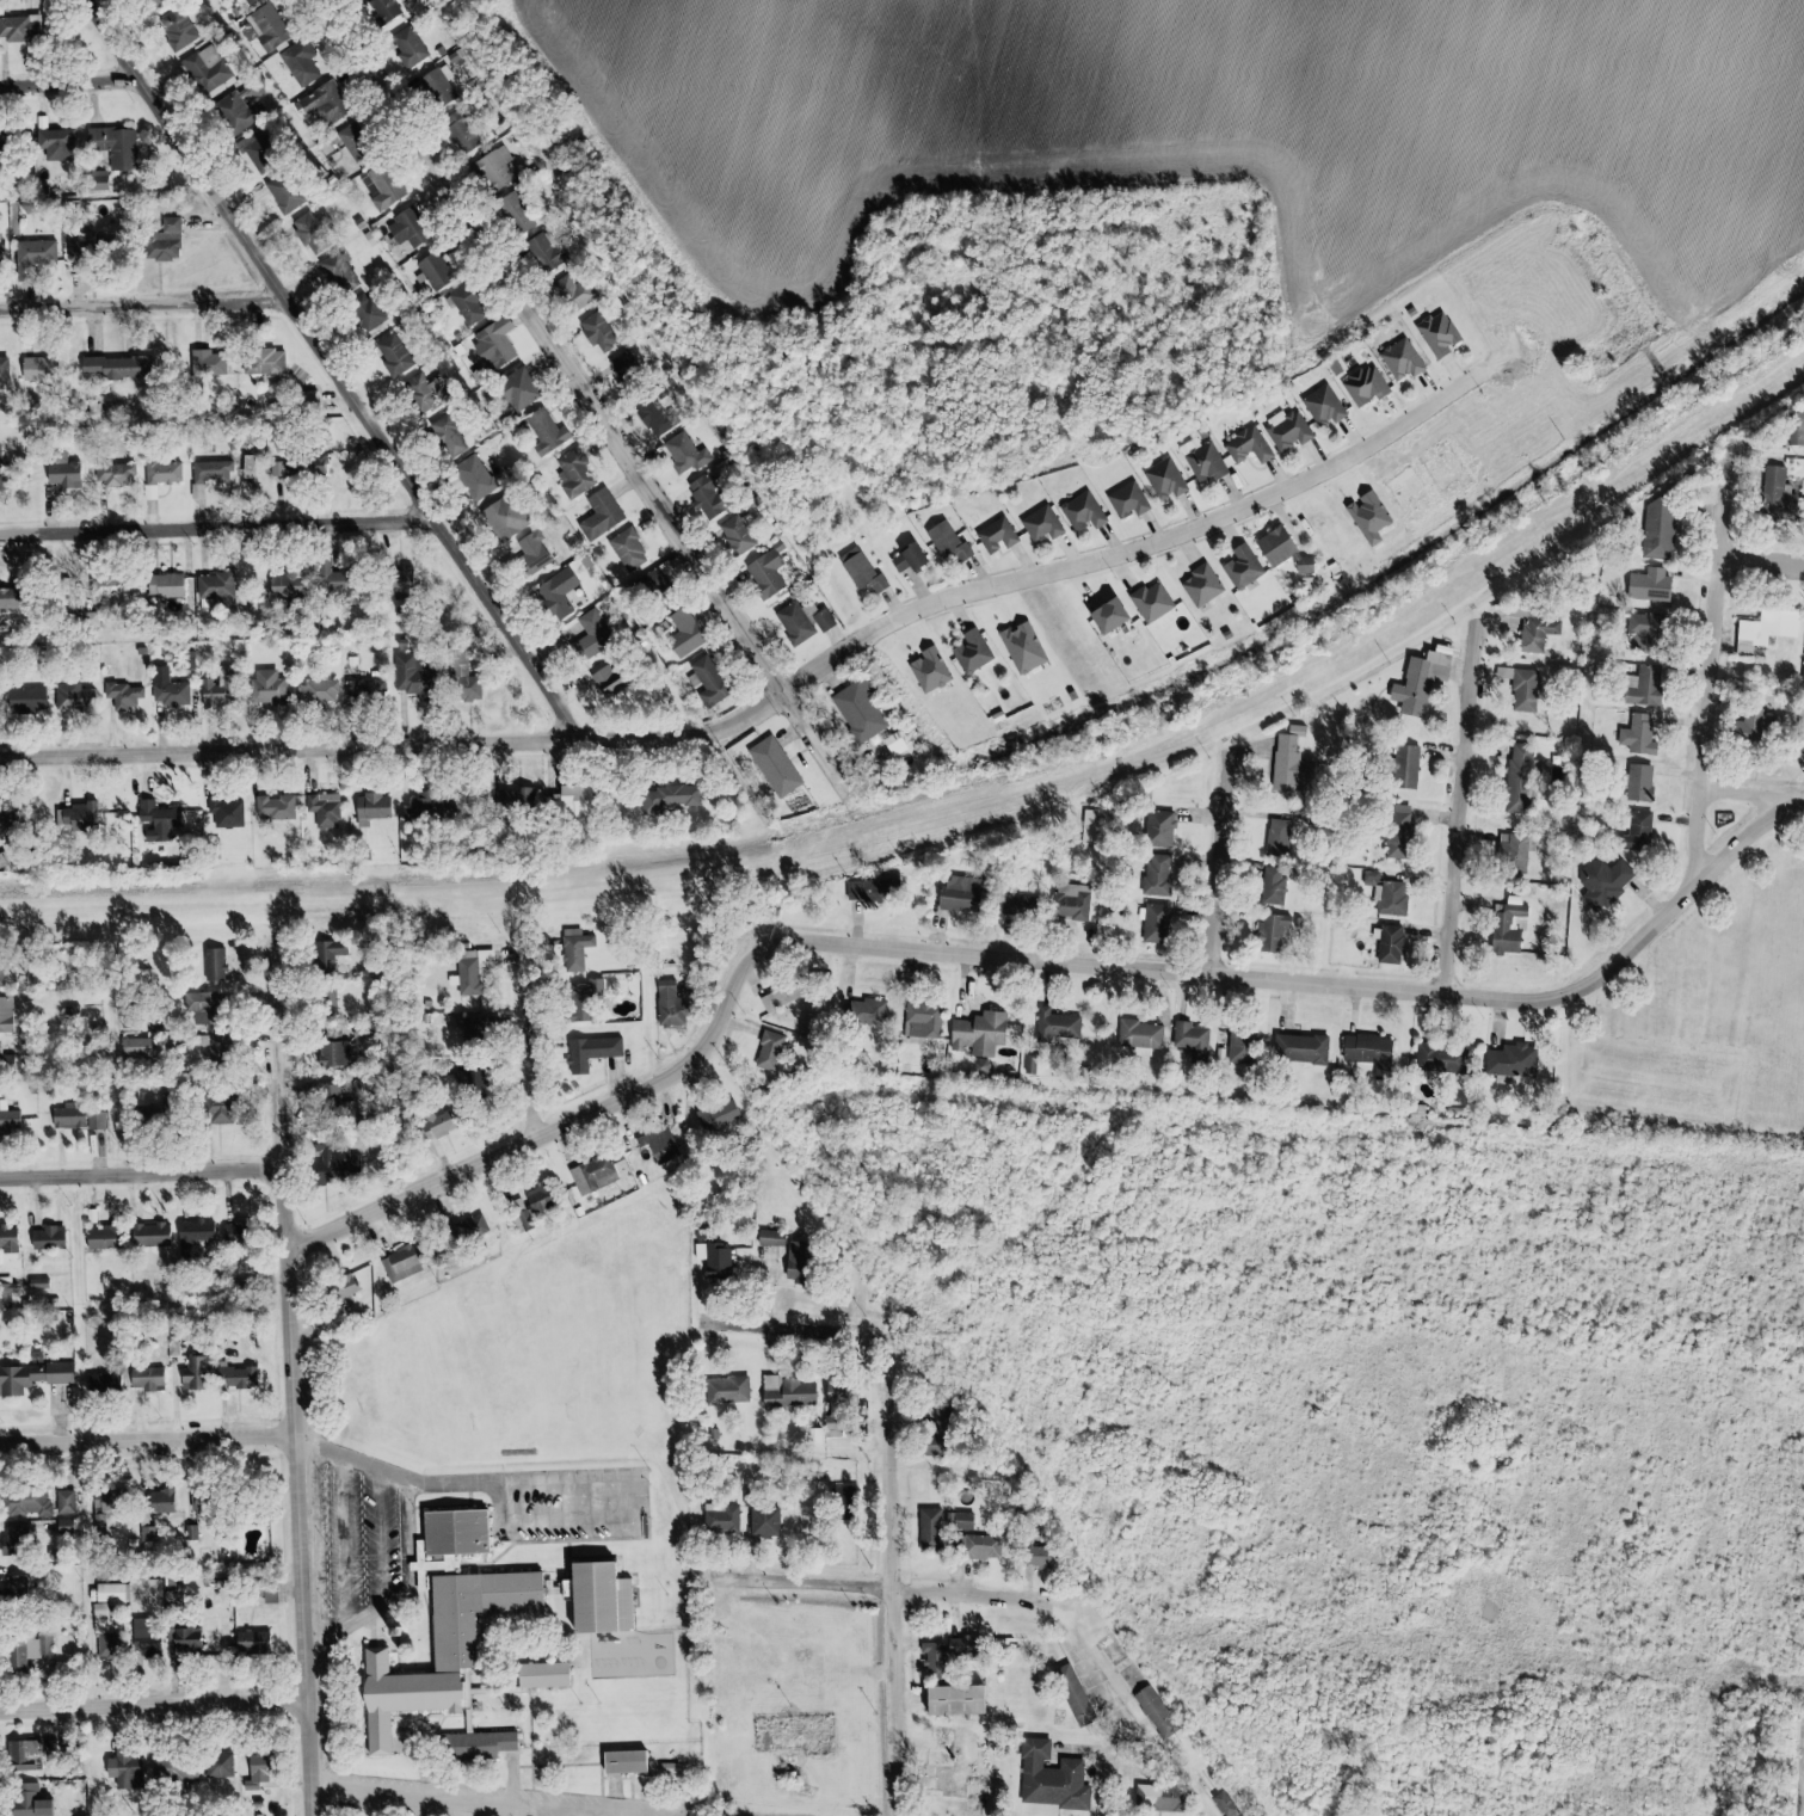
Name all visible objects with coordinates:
building: (246, 1)
building: (381, 8)
building: (177, 26)
building: (271, 26)
building: (21, 27)
building: (405, 45)
building: (300, 62)
building: (207, 67)
road: (73, 79)
building: (435, 85)
building: (325, 103)
building: (240, 106)
building: (457, 130)
building: (355, 141)
building: (57, 143)
building: (116, 144)
building: (2, 148)
building: (263, 153)
building: (491, 167)
building: (378, 186)
building: (285, 191)
building: (511, 211)
building: (405, 227)
building: (312, 232)
building: (170, 239)
building: (2, 246)
building: (81, 247)
building: (37, 251)
building: (541, 251)
building: (337, 267)
building: (431, 270)
building: (571, 289)
road: (147, 300)
building: (464, 303)
building: (371, 315)
building: (595, 332)
building: (1434, 333)
building: (492, 343)
building: (392, 353)
building: (1398, 359)
building: (210, 362)
building: (266, 362)
building: (621, 362)
building: (117, 365)
building: (42, 368)
road: (340, 368)
building: (5, 373)
road: (584, 373)
building: (1362, 384)
building: (515, 389)
building: (421, 392)
building: (1319, 405)
building: (651, 415)
building: (1790, 429)
building: (1285, 430)
building: (543, 431)
building: (444, 436)
building: (1245, 445)
building: (681, 453)
building: (1200, 460)
building: (319, 463)
building: (2, 467)
building: (289, 467)
building: (211, 470)
building: (165, 472)
building: (115, 473)
building: (571, 473)
building: (64, 474)
building: (470, 476)
building: (1162, 479)
building: (197, 491)
building: (1773, 494)
building: (702, 497)
building: (1125, 499)
building: (1079, 511)
building: (597, 513)
building: (1365, 516)
building: (500, 517)
building: (1039, 524)
road: (220, 527)
building: (1655, 528)
building: (732, 535)
building: (993, 535)
building: (944, 541)
road: (1141, 548)
building: (624, 549)
building: (1277, 550)
building: (528, 554)
road: (1767, 555)
building: (904, 558)
building: (1239, 566)
building: (857, 570)
building: (762, 573)
building: (337, 577)
building: (651, 580)
building: (170, 584)
building: (291, 584)
building: (1197, 584)
building: (109, 585)
building: (1645, 585)
building: (217, 586)
building: (554, 591)
building: (1147, 601)
building: (1104, 615)
building: (820, 618)
building: (1162, 620)
building: (790, 622)
building: (1762, 629)
building: (1638, 632)
building: (681, 633)
building: (1534, 633)
building: (589, 634)
building: (1020, 647)
building: (968, 651)
building: (926, 669)
building: (1802, 671)
road: (1718, 672)
building: (414, 675)
building: (1416, 678)
building: (604, 679)
building: (706, 681)
building: (461, 682)
building: (1517, 684)
building: (1639, 685)
building: (271, 687)
building: (170, 689)
building: (218, 689)
building: (362, 690)
building: (318, 691)
building: (123, 695)
building: (72, 696)
building: (30, 698)
building: (855, 710)
building: (1643, 738)
road: (402, 741)
building: (770, 765)
building: (1291, 767)
building: (1405, 768)
building: (1520, 781)
building: (1639, 784)
road: (1756, 788)
building: (511, 798)
building: (567, 799)
building: (665, 799)
building: (425, 805)
building: (273, 806)
building: (374, 806)
building: (322, 808)
road: (1465, 808)
building: (227, 812)
building: (4, 814)
railway: (960, 814)
building: (78, 815)
building: (159, 820)
building: (1638, 832)
building: (1399, 833)
building: (1279, 838)
building: (1513, 855)
road: (1227, 858)
building: (2, 860)
building: (1171, 874)
building: (1602, 884)
building: (1273, 887)
building: (1394, 900)
building: (1156, 924)
road: (804, 927)
building: (1272, 932)
building: (1508, 932)
building: (1391, 946)
building: (572, 948)
road: (1028, 952)
building: (468, 969)
building: (577, 998)
building: (665, 1003)
building: (204, 1007)
building: (6, 1016)
building: (924, 1021)
building: (1059, 1028)
building: (980, 1033)
building: (1141, 1036)
road: (540, 1038)
building: (1193, 1042)
building: (138, 1046)
building: (218, 1047)
building: (1243, 1047)
building: (1301, 1049)
building: (587, 1052)
building: (1369, 1052)
building: (337, 1053)
building: (1, 1059)
building: (1441, 1059)
building: (1511, 1060)
building: (472, 1083)
building: (10, 1116)
building: (78, 1116)
building: (714, 1116)
building: (441, 1121)
building: (655, 1144)
road: (146, 1174)
building: (590, 1174)
building: (535, 1198)
building: (522, 1219)
building: (478, 1224)
building: (236, 1231)
building: (103, 1232)
building: (158, 1233)
building: (196, 1235)
building: (49, 1237)
building: (10, 1241)
building: (774, 1241)
building: (706, 1254)
building: (405, 1261)
building: (799, 1264)
road: (809, 1323)
building: (192, 1374)
building: (31, 1379)
building: (239, 1379)
building: (144, 1383)
road: (304, 1384)
building: (104, 1385)
building: (727, 1392)
building: (789, 1393)
building: (842, 1393)
building: (944, 1418)
road: (153, 1443)
road: (536, 1478)
building: (207, 1500)
building: (845, 1500)
building: (161, 1501)
building: (66, 1503)
building: (29, 1504)
building: (106, 1506)
building: (721, 1522)
building: (963, 1522)
building: (765, 1523)
building: (930, 1532)
building: (456, 1533)
road: (394, 1538)
road: (424, 1539)
building: (17, 1543)
road: (358, 1543)
building: (981, 1549)
road: (904, 1553)
building: (1038, 1556)
road: (966, 1587)
building: (17, 1594)
building: (598, 1600)
building: (147, 1636)
building: (106, 1643)
building: (187, 1644)
building: (253, 1644)
building: (962, 1650)
building: (29, 1652)
building: (934, 1658)
building: (541, 1675)
building: (418, 1695)
building: (1075, 1698)
building: (953, 1701)
road: (158, 1705)
building: (1156, 1713)
building: (478, 1747)
building: (25, 1756)
building: (624, 1762)
building: (221, 1765)
building: (670, 1768)
building: (124, 1769)
building: (949, 1771)
building: (173, 1772)
building: (259, 1772)
building: (1051, 1779)
road: (475, 1798)
building: (1162, 1799)
building: (27, 1802)
building: (1226, 1804)
road: (1223, 1808)
road: (985, 1810)

